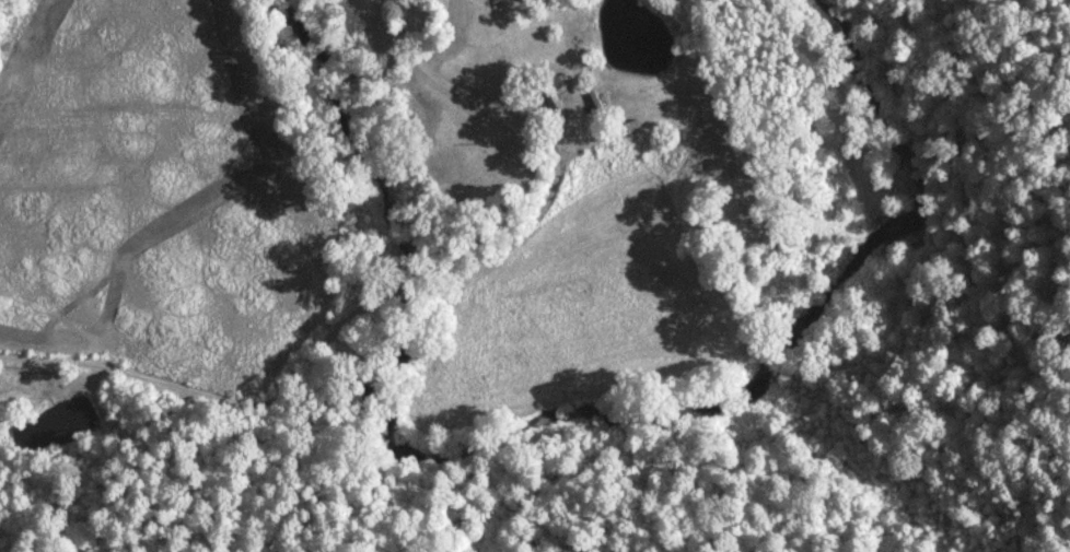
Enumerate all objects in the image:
building: (558, 97)
river: (876, 190)
road: (403, 306)

